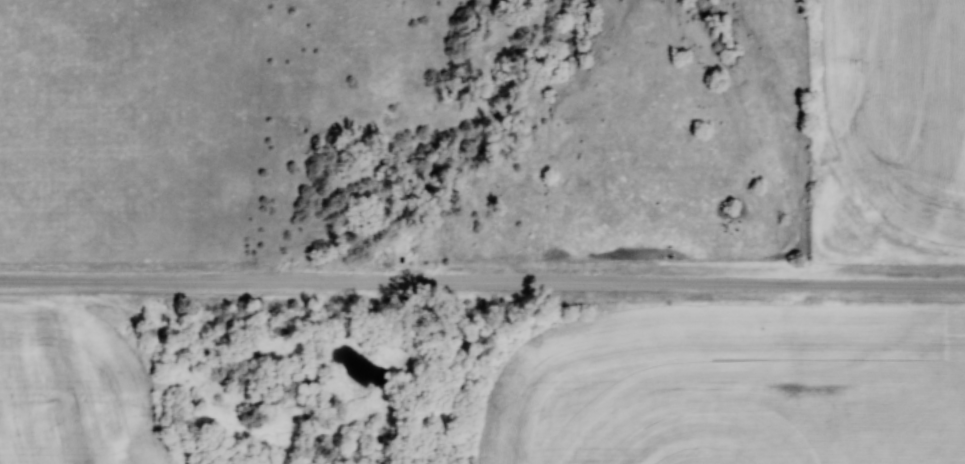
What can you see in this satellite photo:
road: (482, 289)

